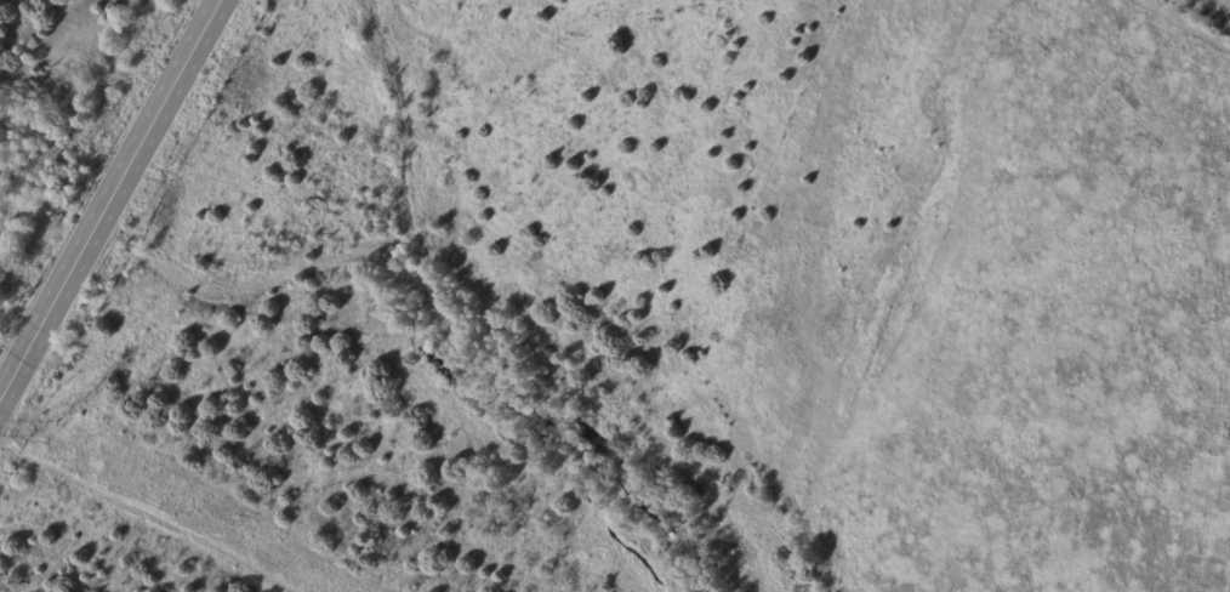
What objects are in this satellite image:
road: (112, 200)
power tower: (44, 429)

